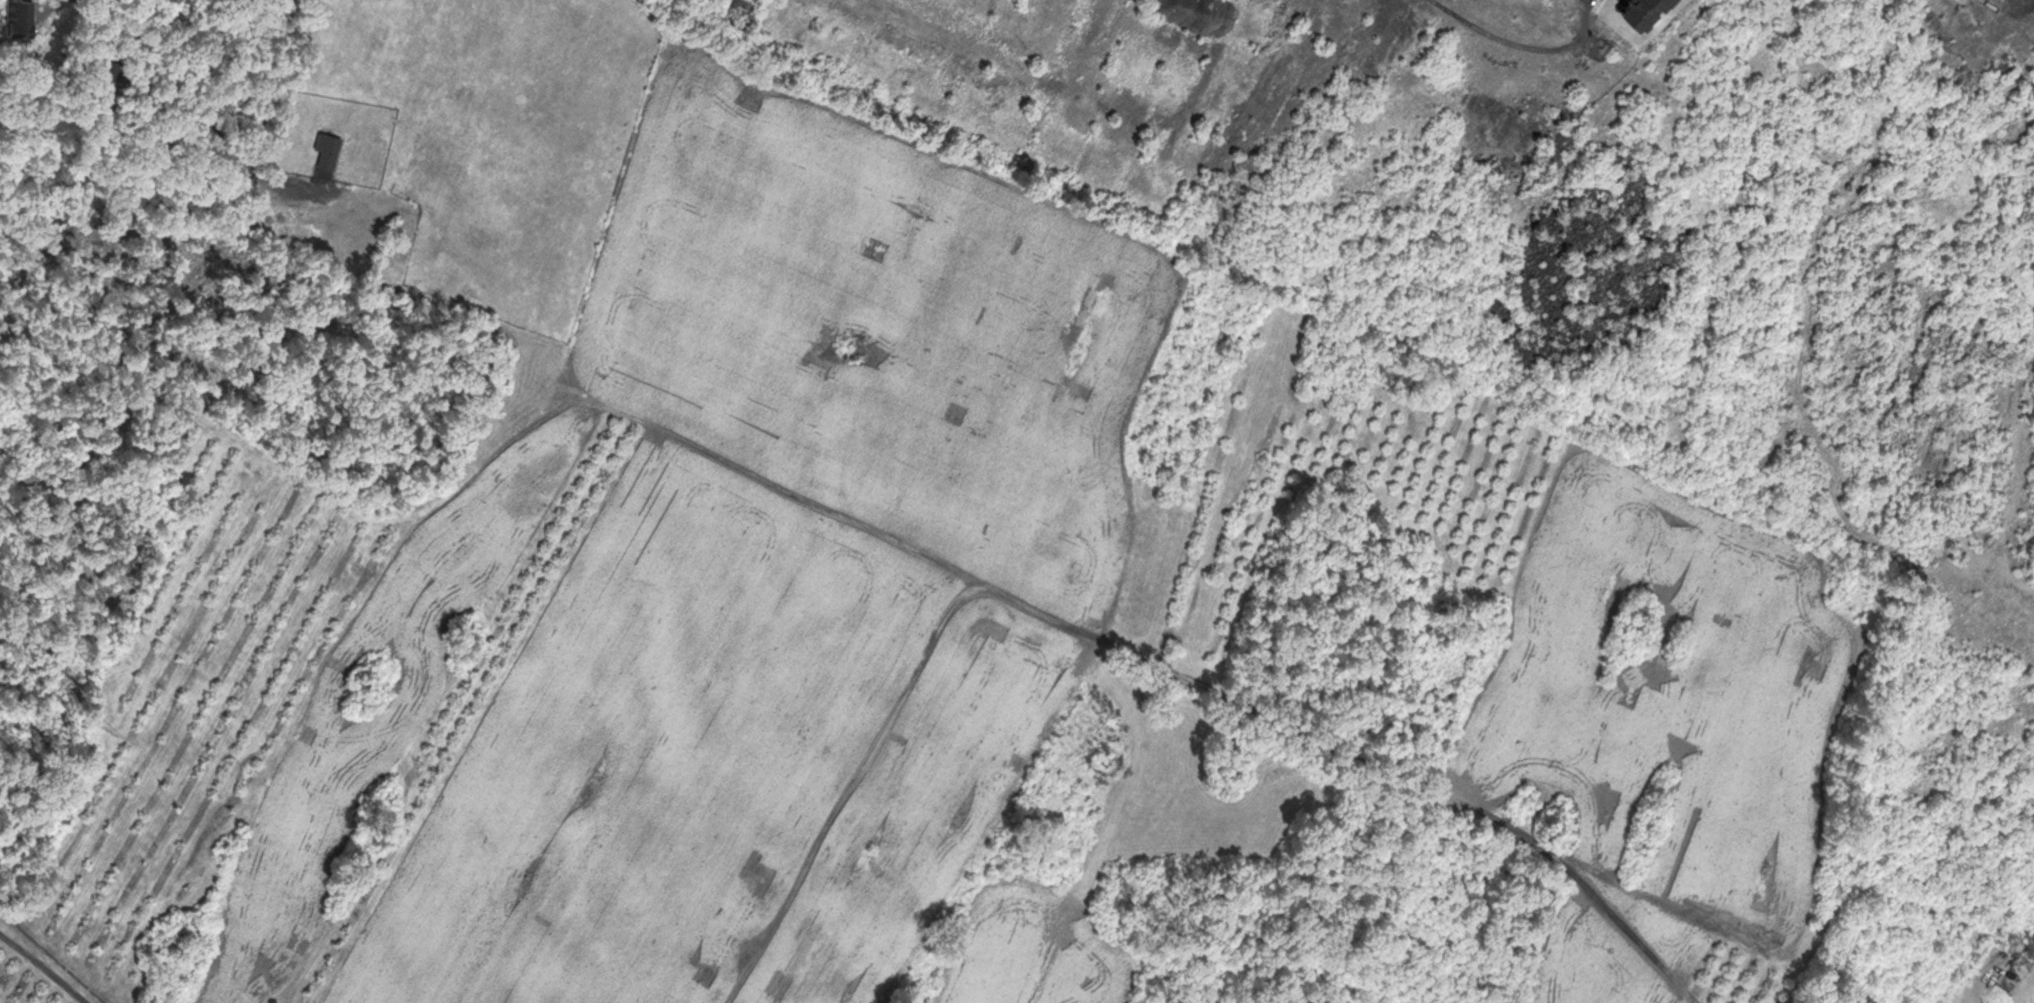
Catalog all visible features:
building: (27, 18)
building: (121, 69)
building: (335, 103)
road: (45, 966)
building: (1999, 991)

